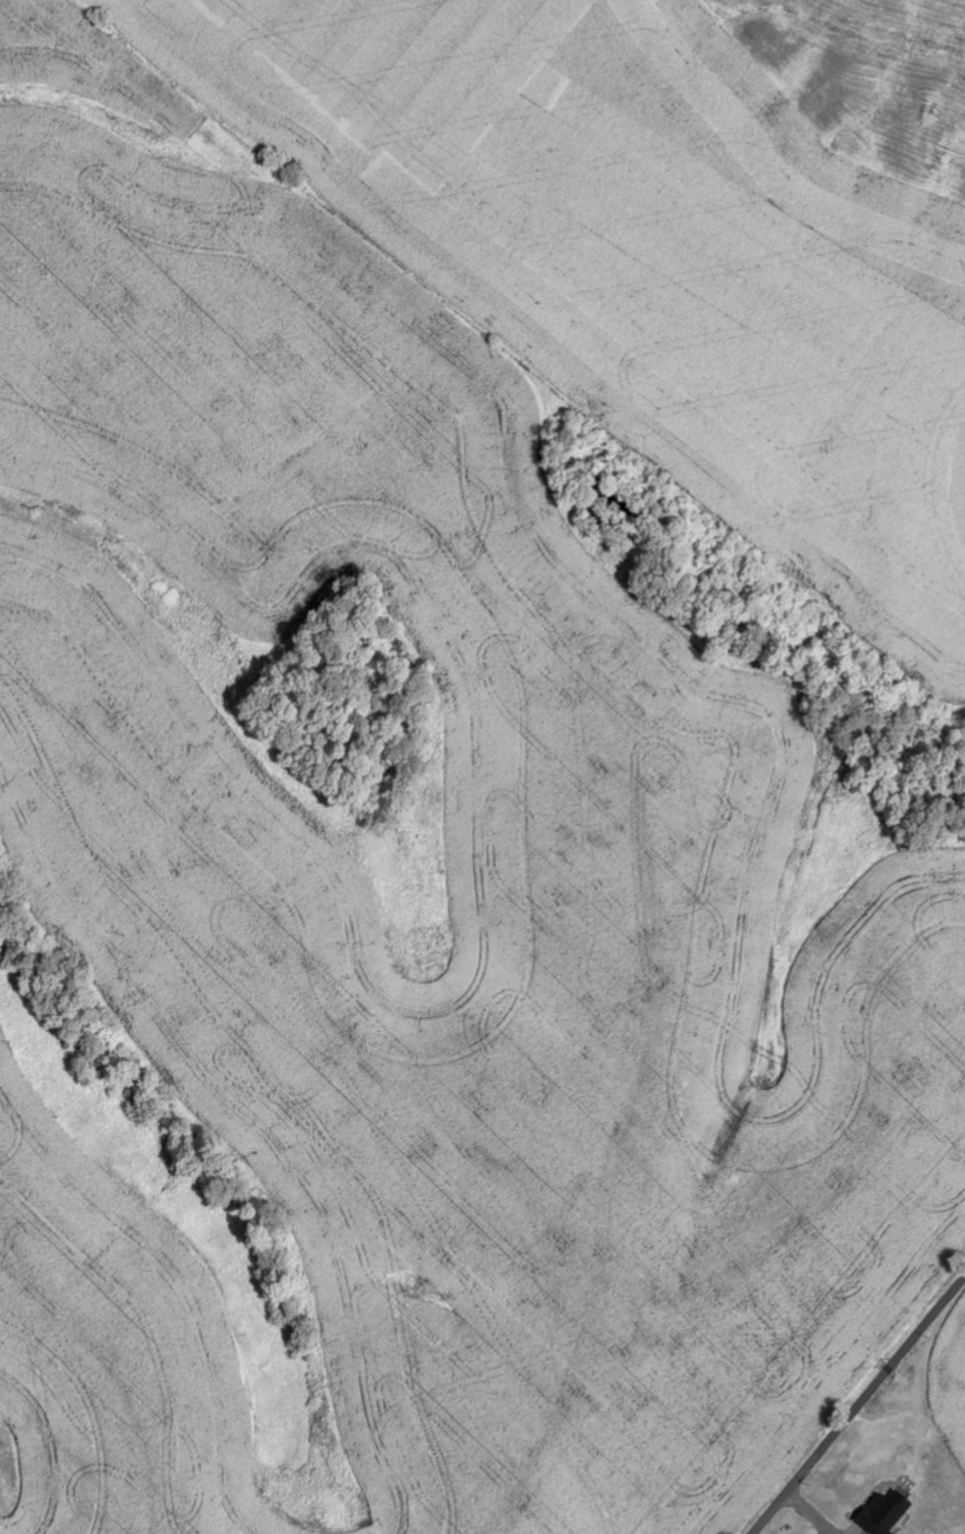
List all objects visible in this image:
road: (859, 1404)
building: (887, 1512)

